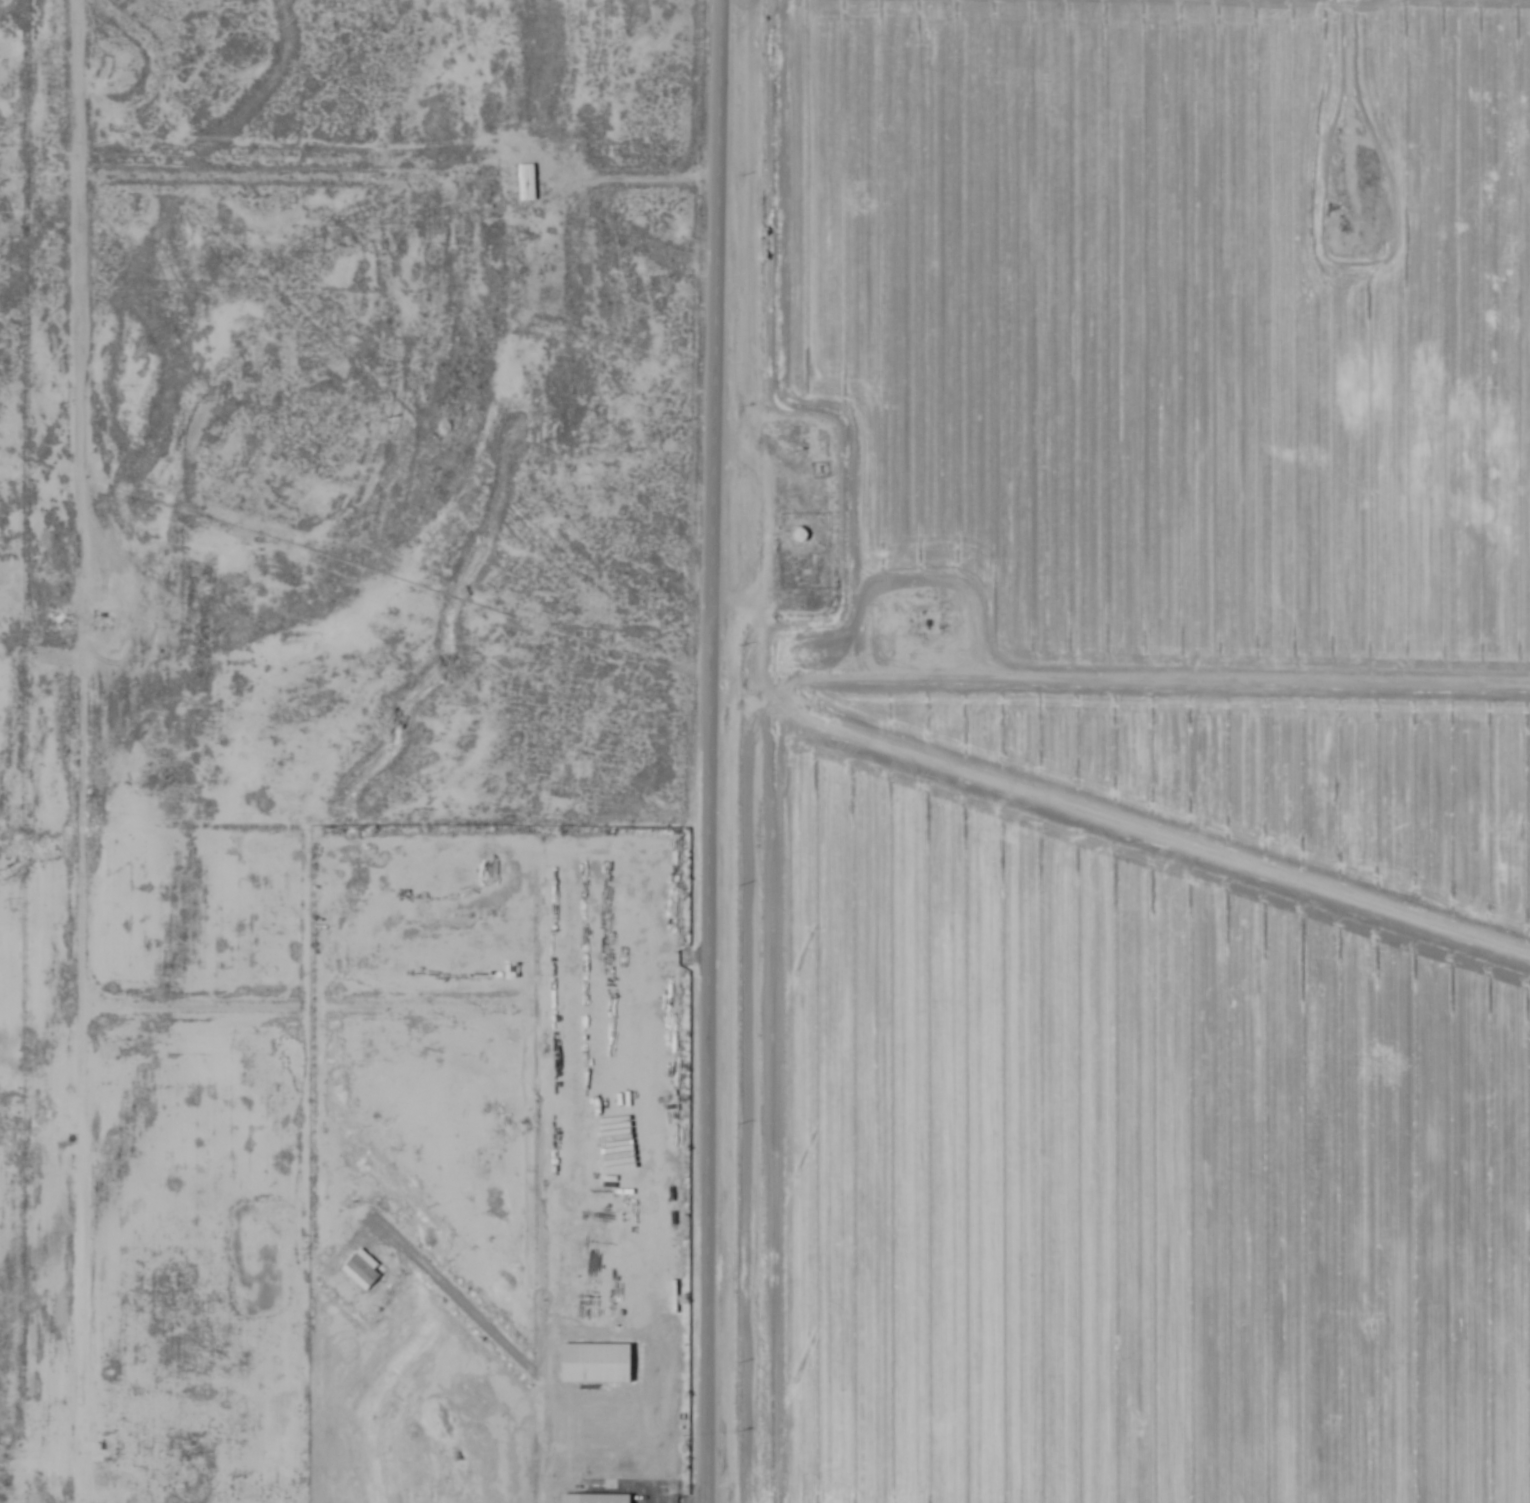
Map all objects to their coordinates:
road: (360, 180)
road: (1122, 689)
crop: (1126, 750)
road: (79, 751)
road: (715, 751)
road: (400, 1012)
building: (604, 1498)

